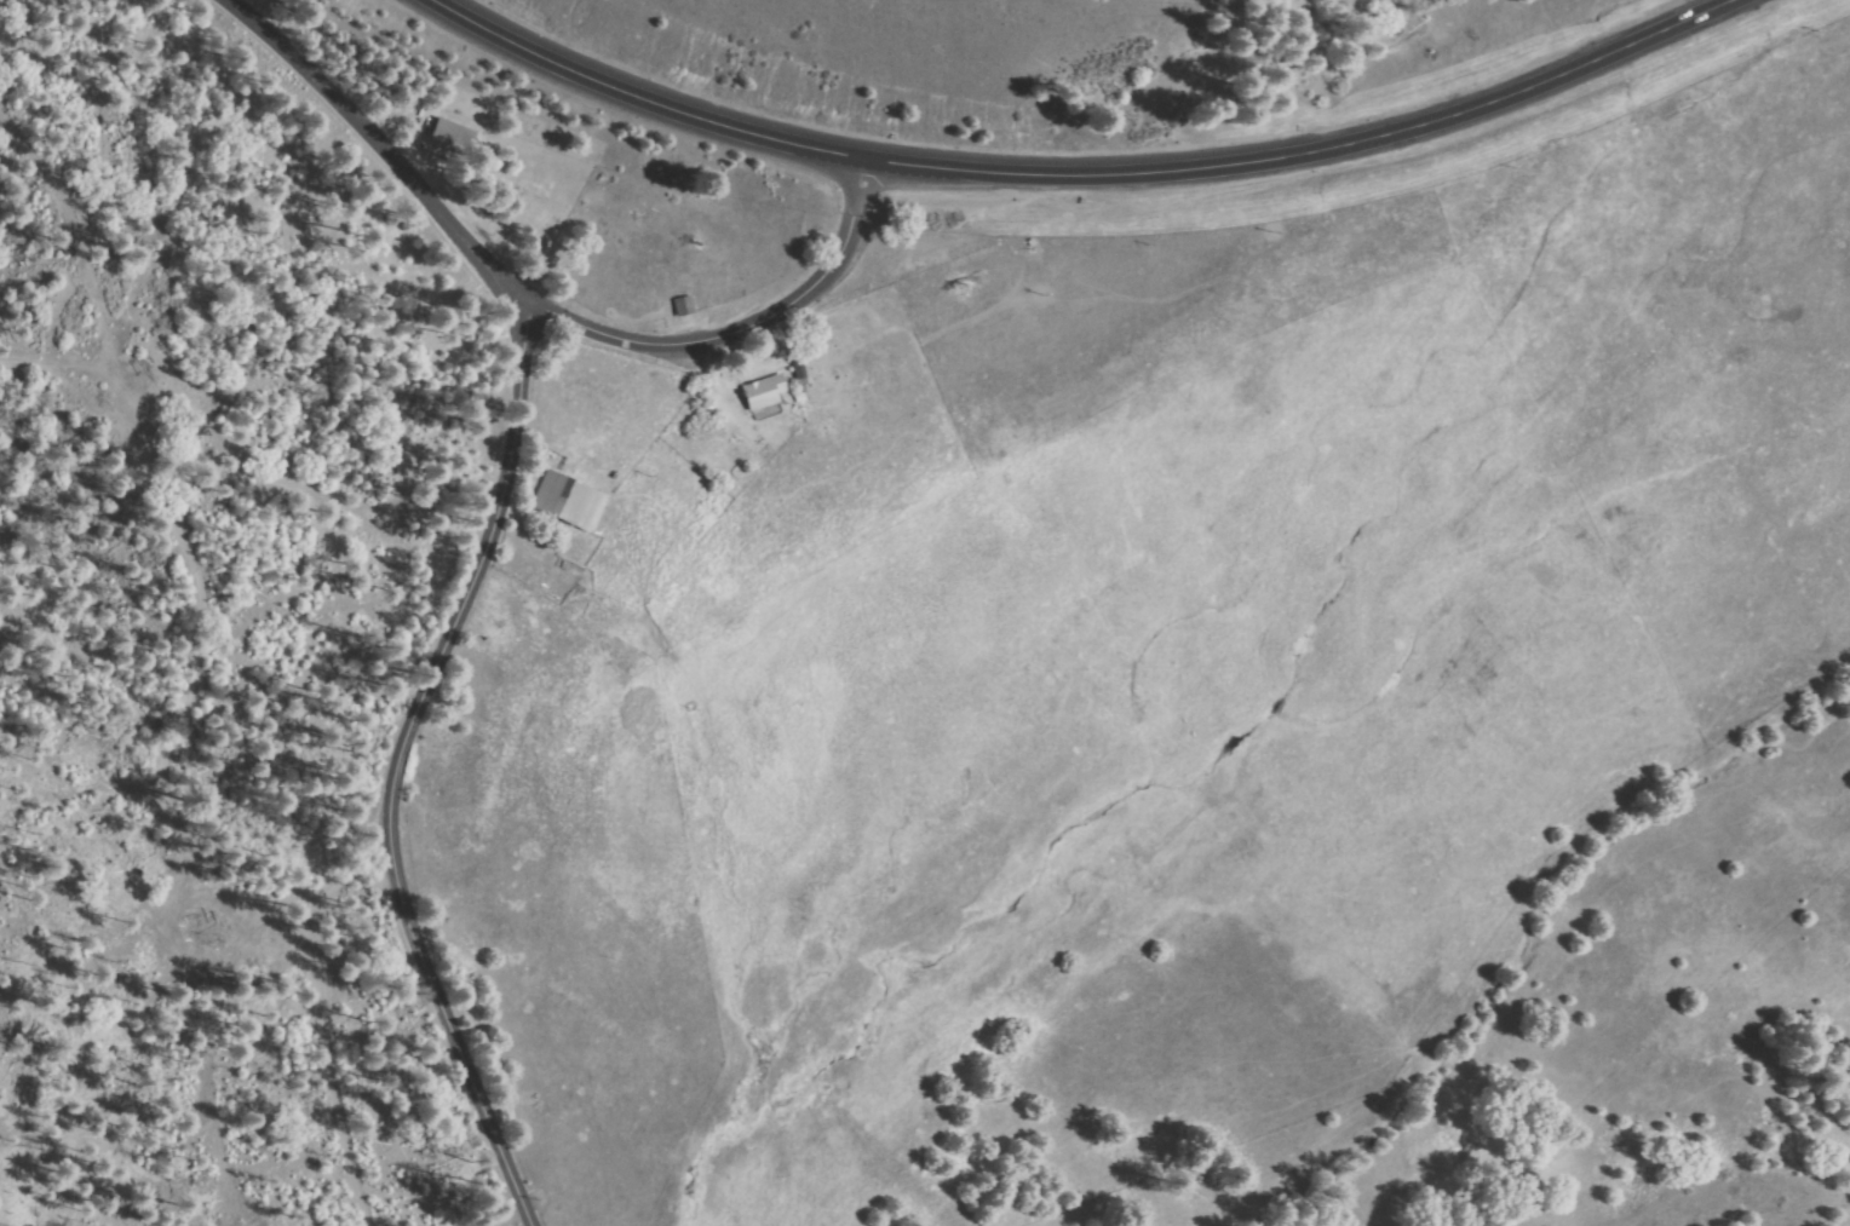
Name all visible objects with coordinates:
road: (648, 97)
building: (453, 136)
road: (1310, 149)
road: (384, 150)
building: (686, 305)
road: (746, 329)
building: (802, 373)
building: (765, 391)
building: (570, 501)
road: (398, 770)
road: (309, 959)

